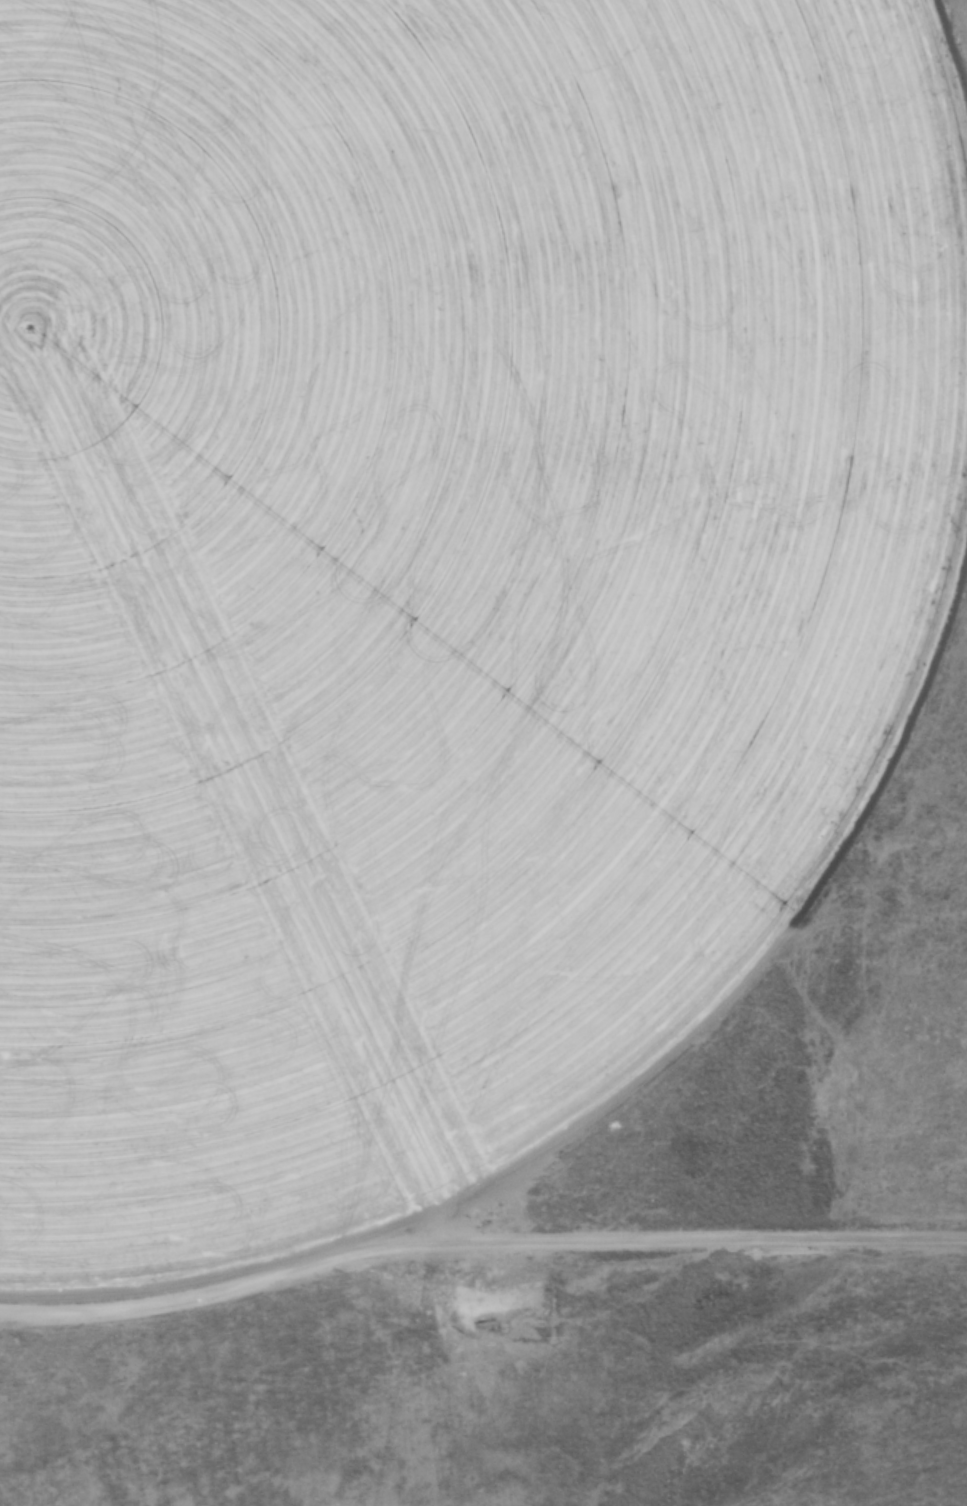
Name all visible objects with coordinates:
crop: (425, 555)

